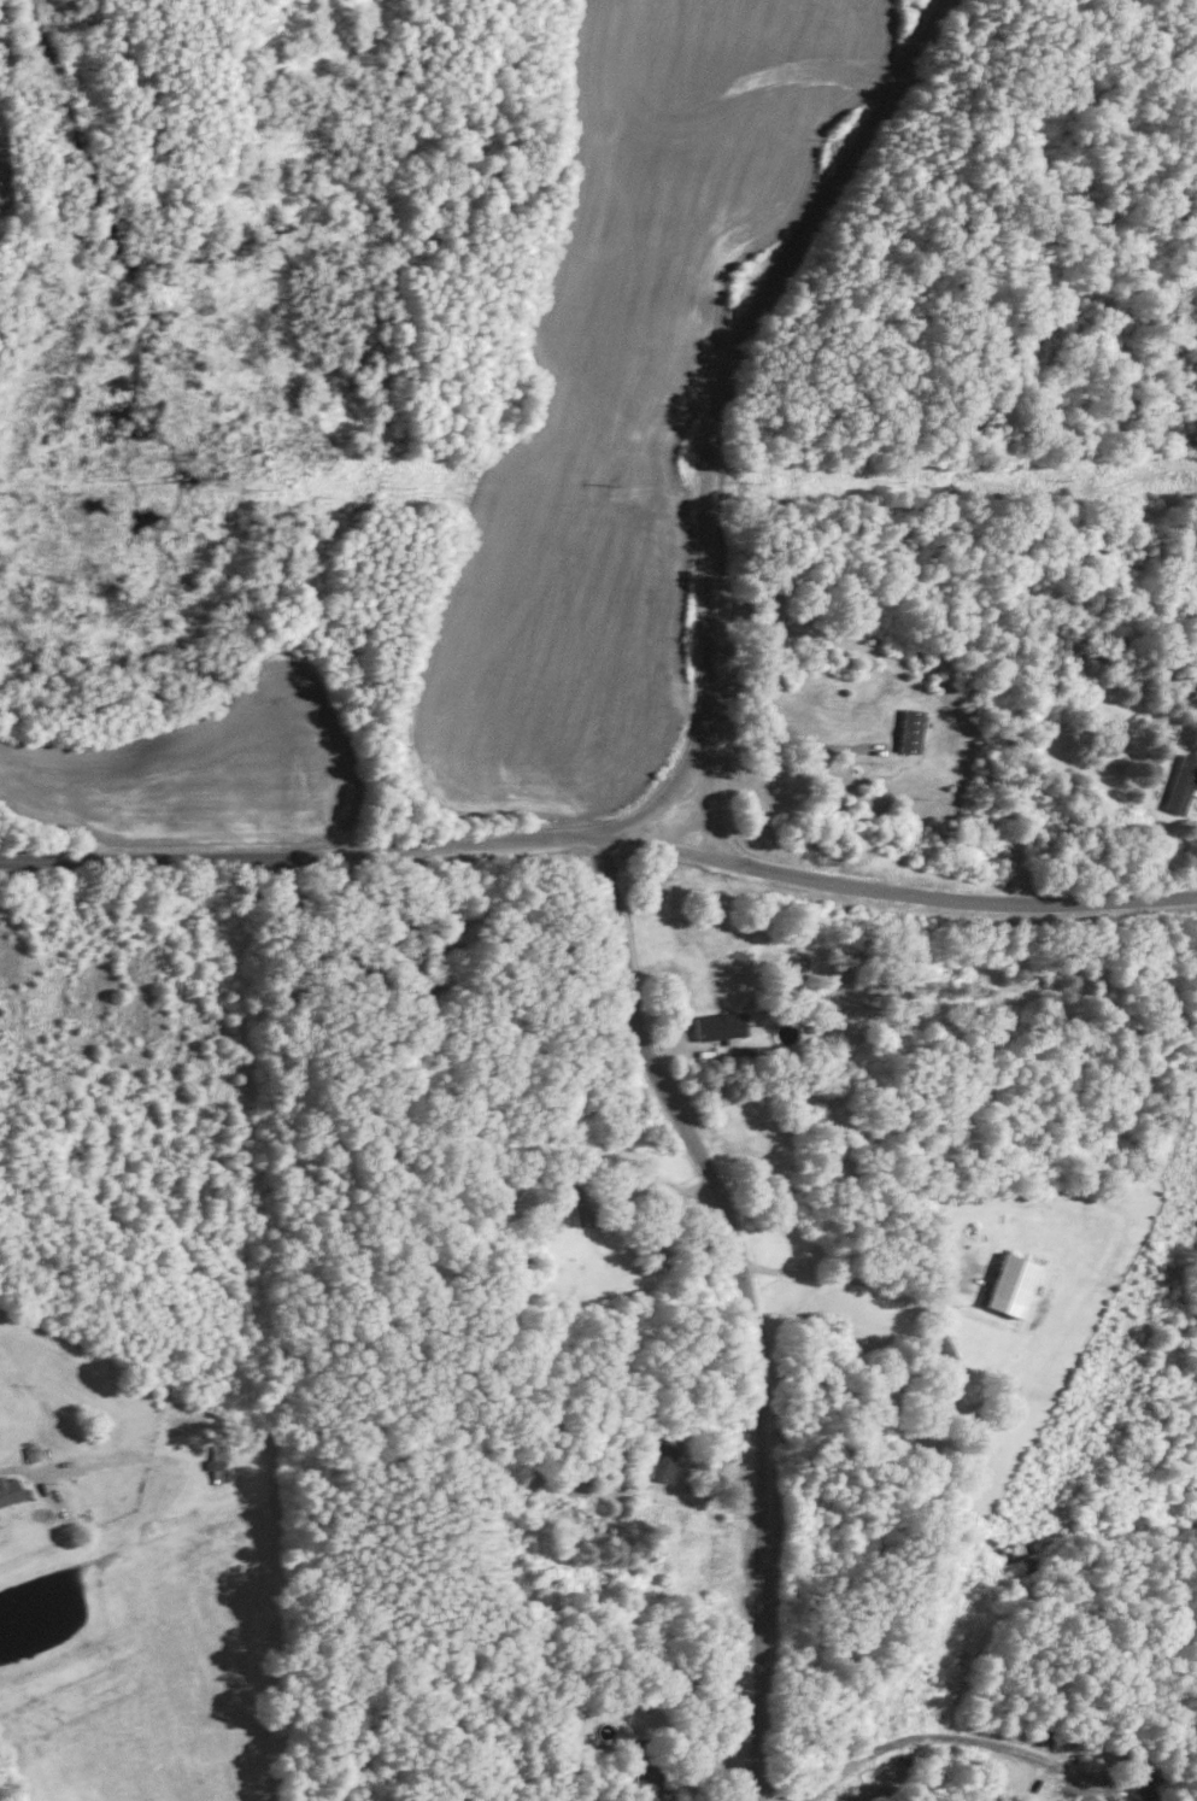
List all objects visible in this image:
road: (738, 339)
road: (790, 729)
building: (910, 729)
building: (1180, 782)
road: (670, 790)
road: (710, 792)
road: (358, 851)
road: (954, 899)
building: (718, 1025)
building: (580, 1199)
road: (841, 1278)
building: (1010, 1284)
road: (745, 1303)
building: (11, 1490)
road: (941, 1737)
building: (645, 1773)
building: (1140, 1790)
building: (1122, 1800)

